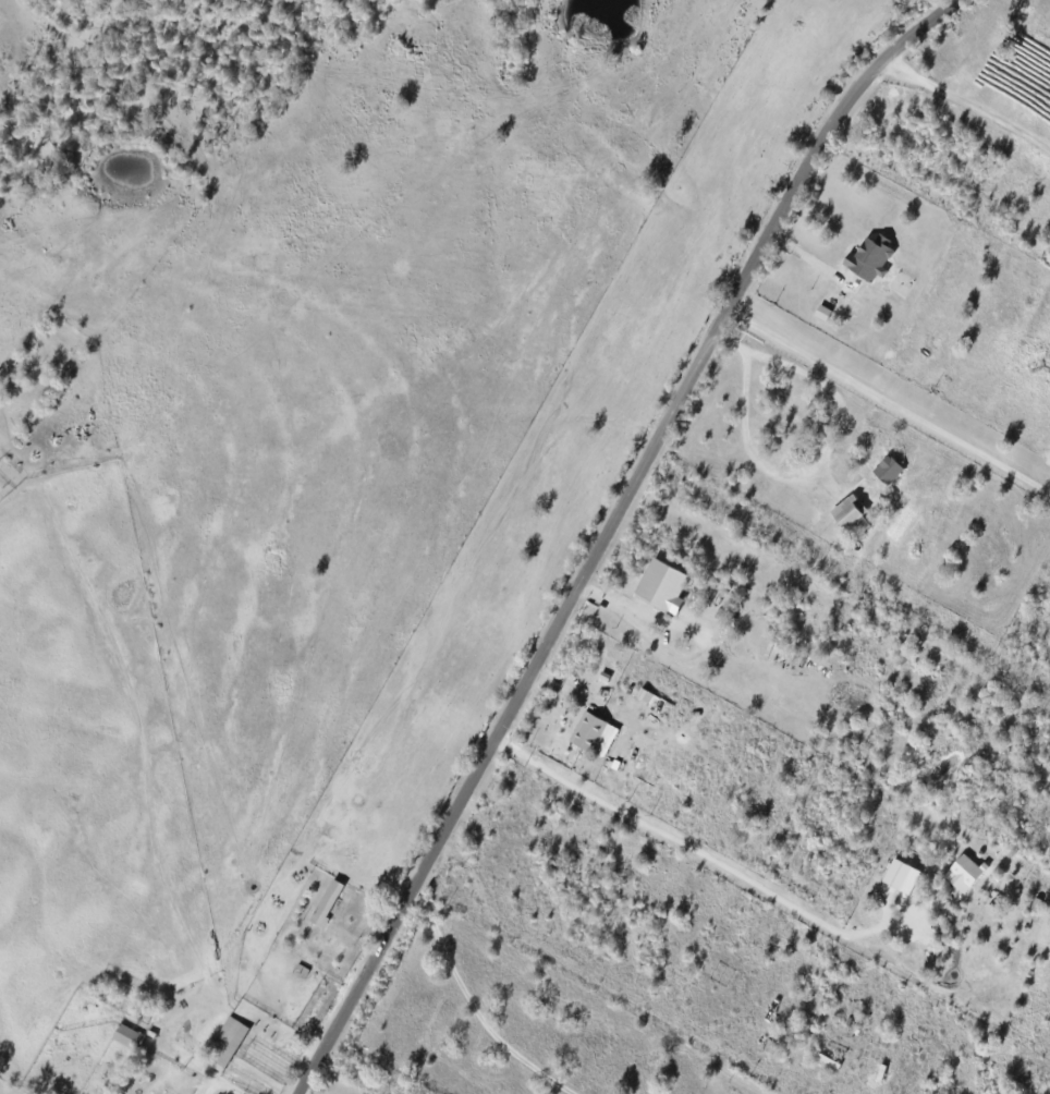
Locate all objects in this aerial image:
road: (964, 114)
building: (869, 257)
building: (822, 312)
road: (888, 414)
building: (888, 469)
road: (799, 482)
building: (848, 514)
road: (611, 530)
building: (661, 584)
building: (588, 730)
road: (703, 852)
building: (964, 872)
building: (896, 874)
building: (326, 903)
road: (481, 1006)
building: (126, 1035)
building: (227, 1043)

